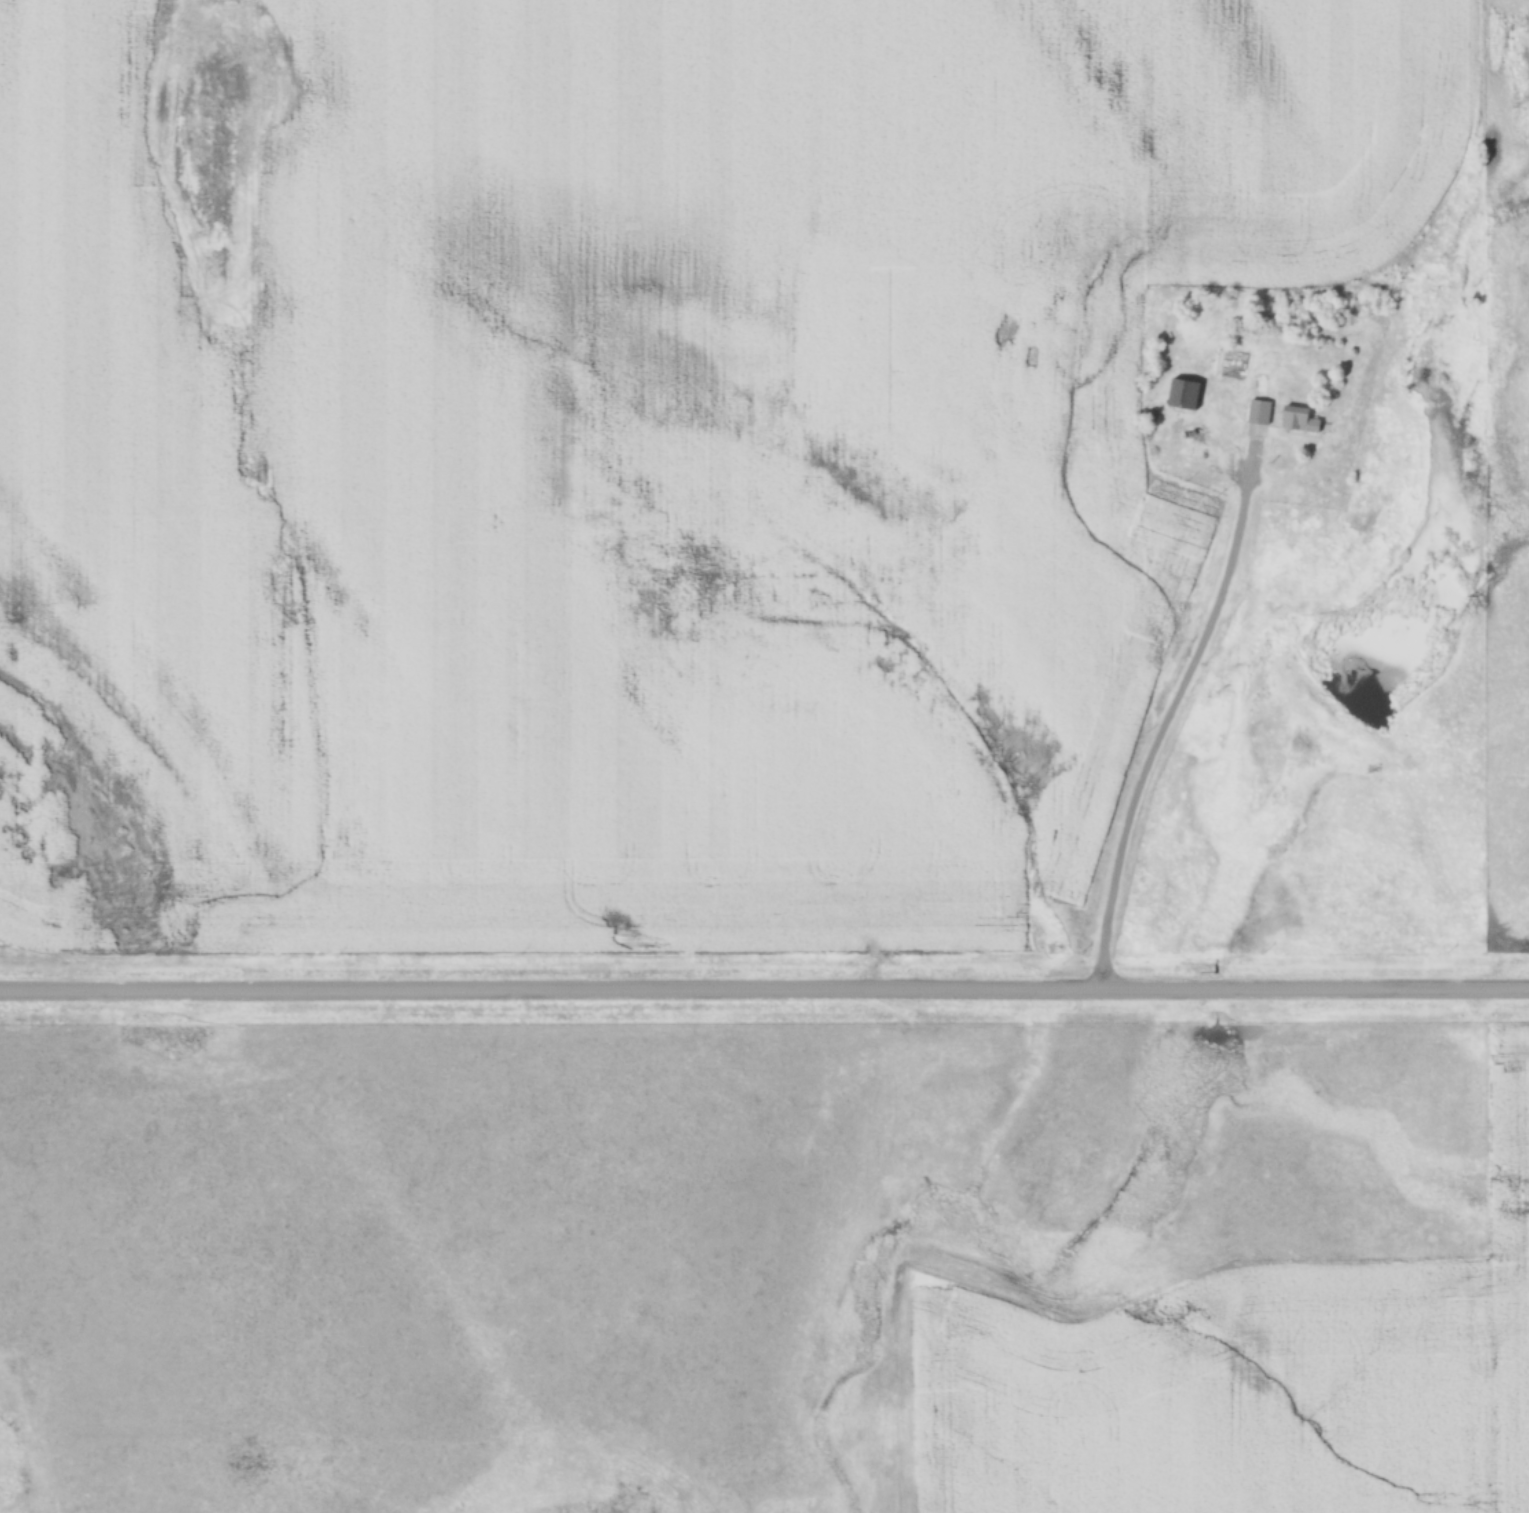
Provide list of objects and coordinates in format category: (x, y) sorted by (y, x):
building: (1182, 393)
building: (1216, 408)
building: (1283, 418)
building: (1109, 495)
road: (1161, 737)
road: (764, 990)

